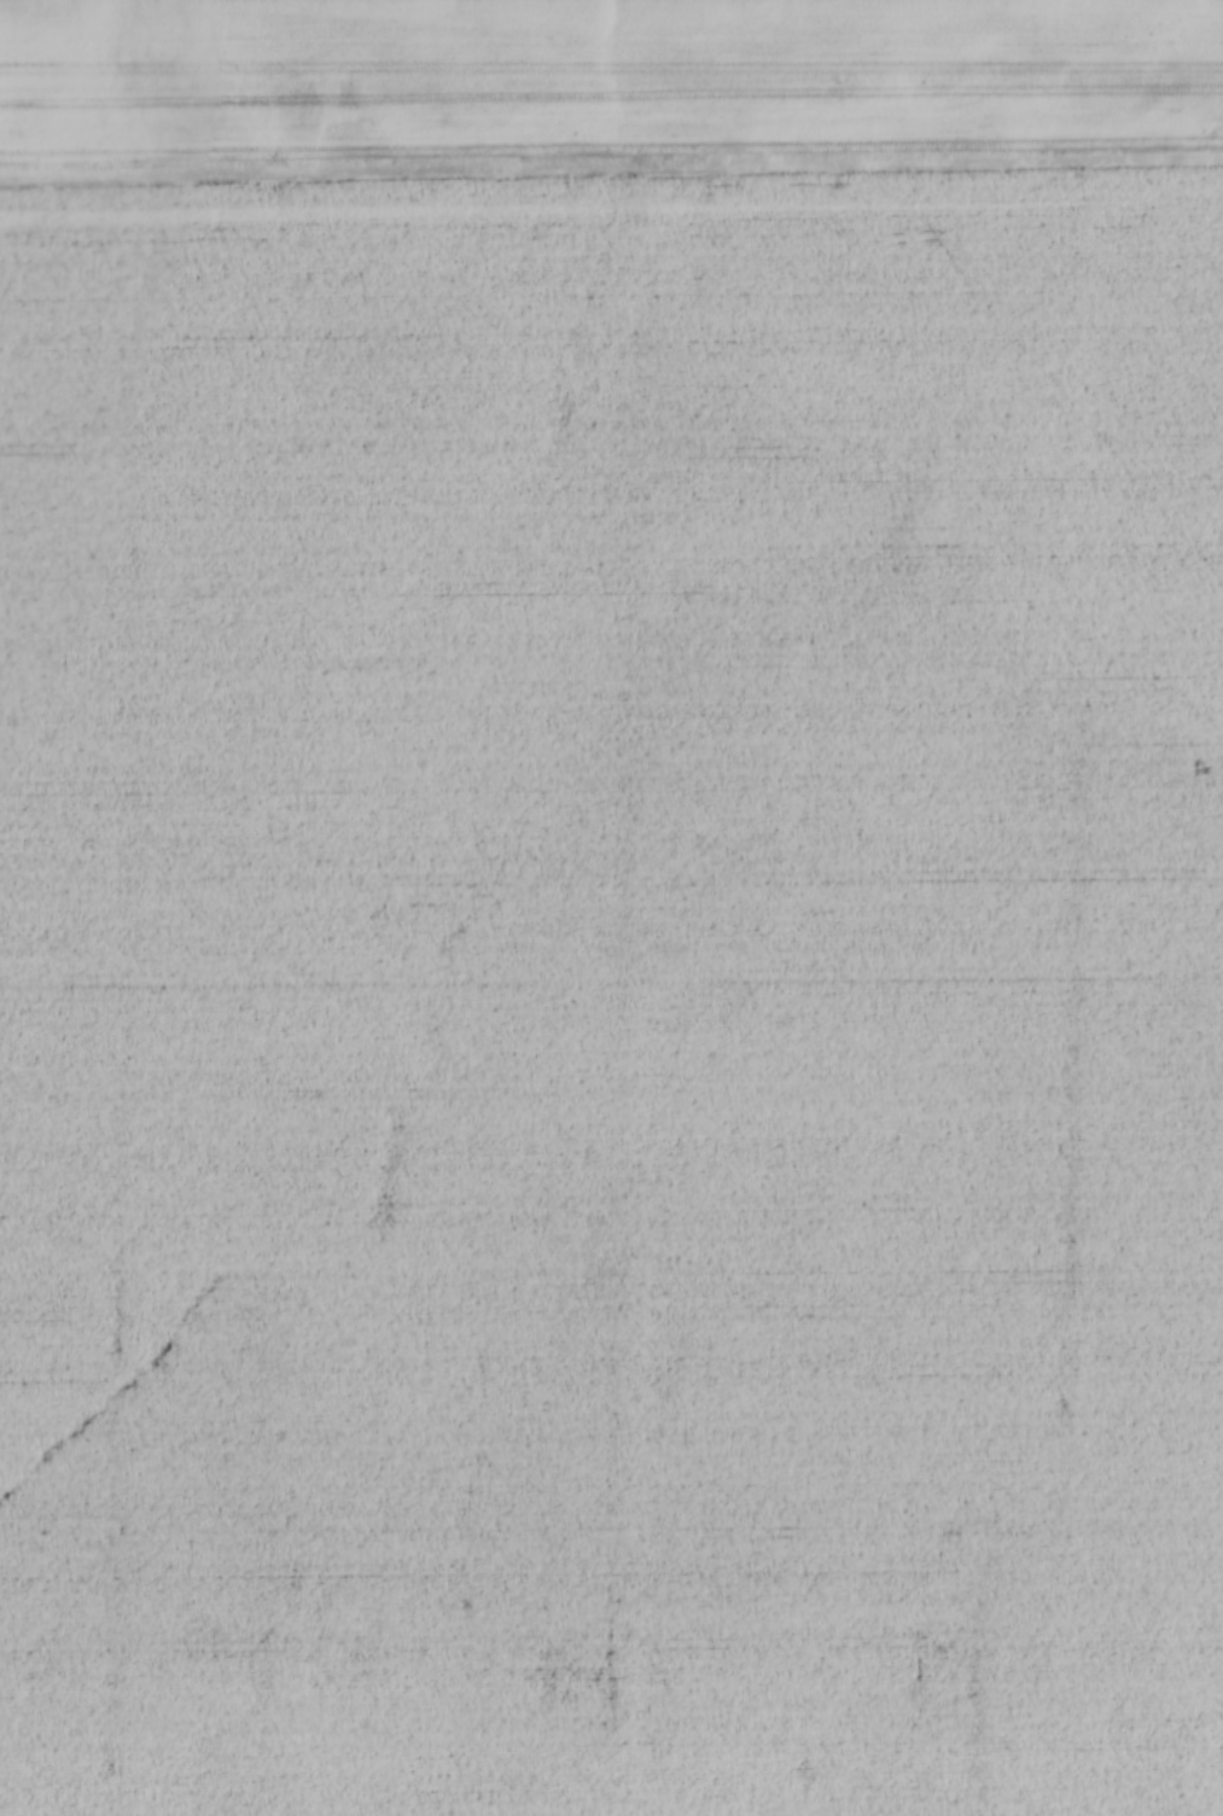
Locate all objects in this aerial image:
road: (611, 180)

